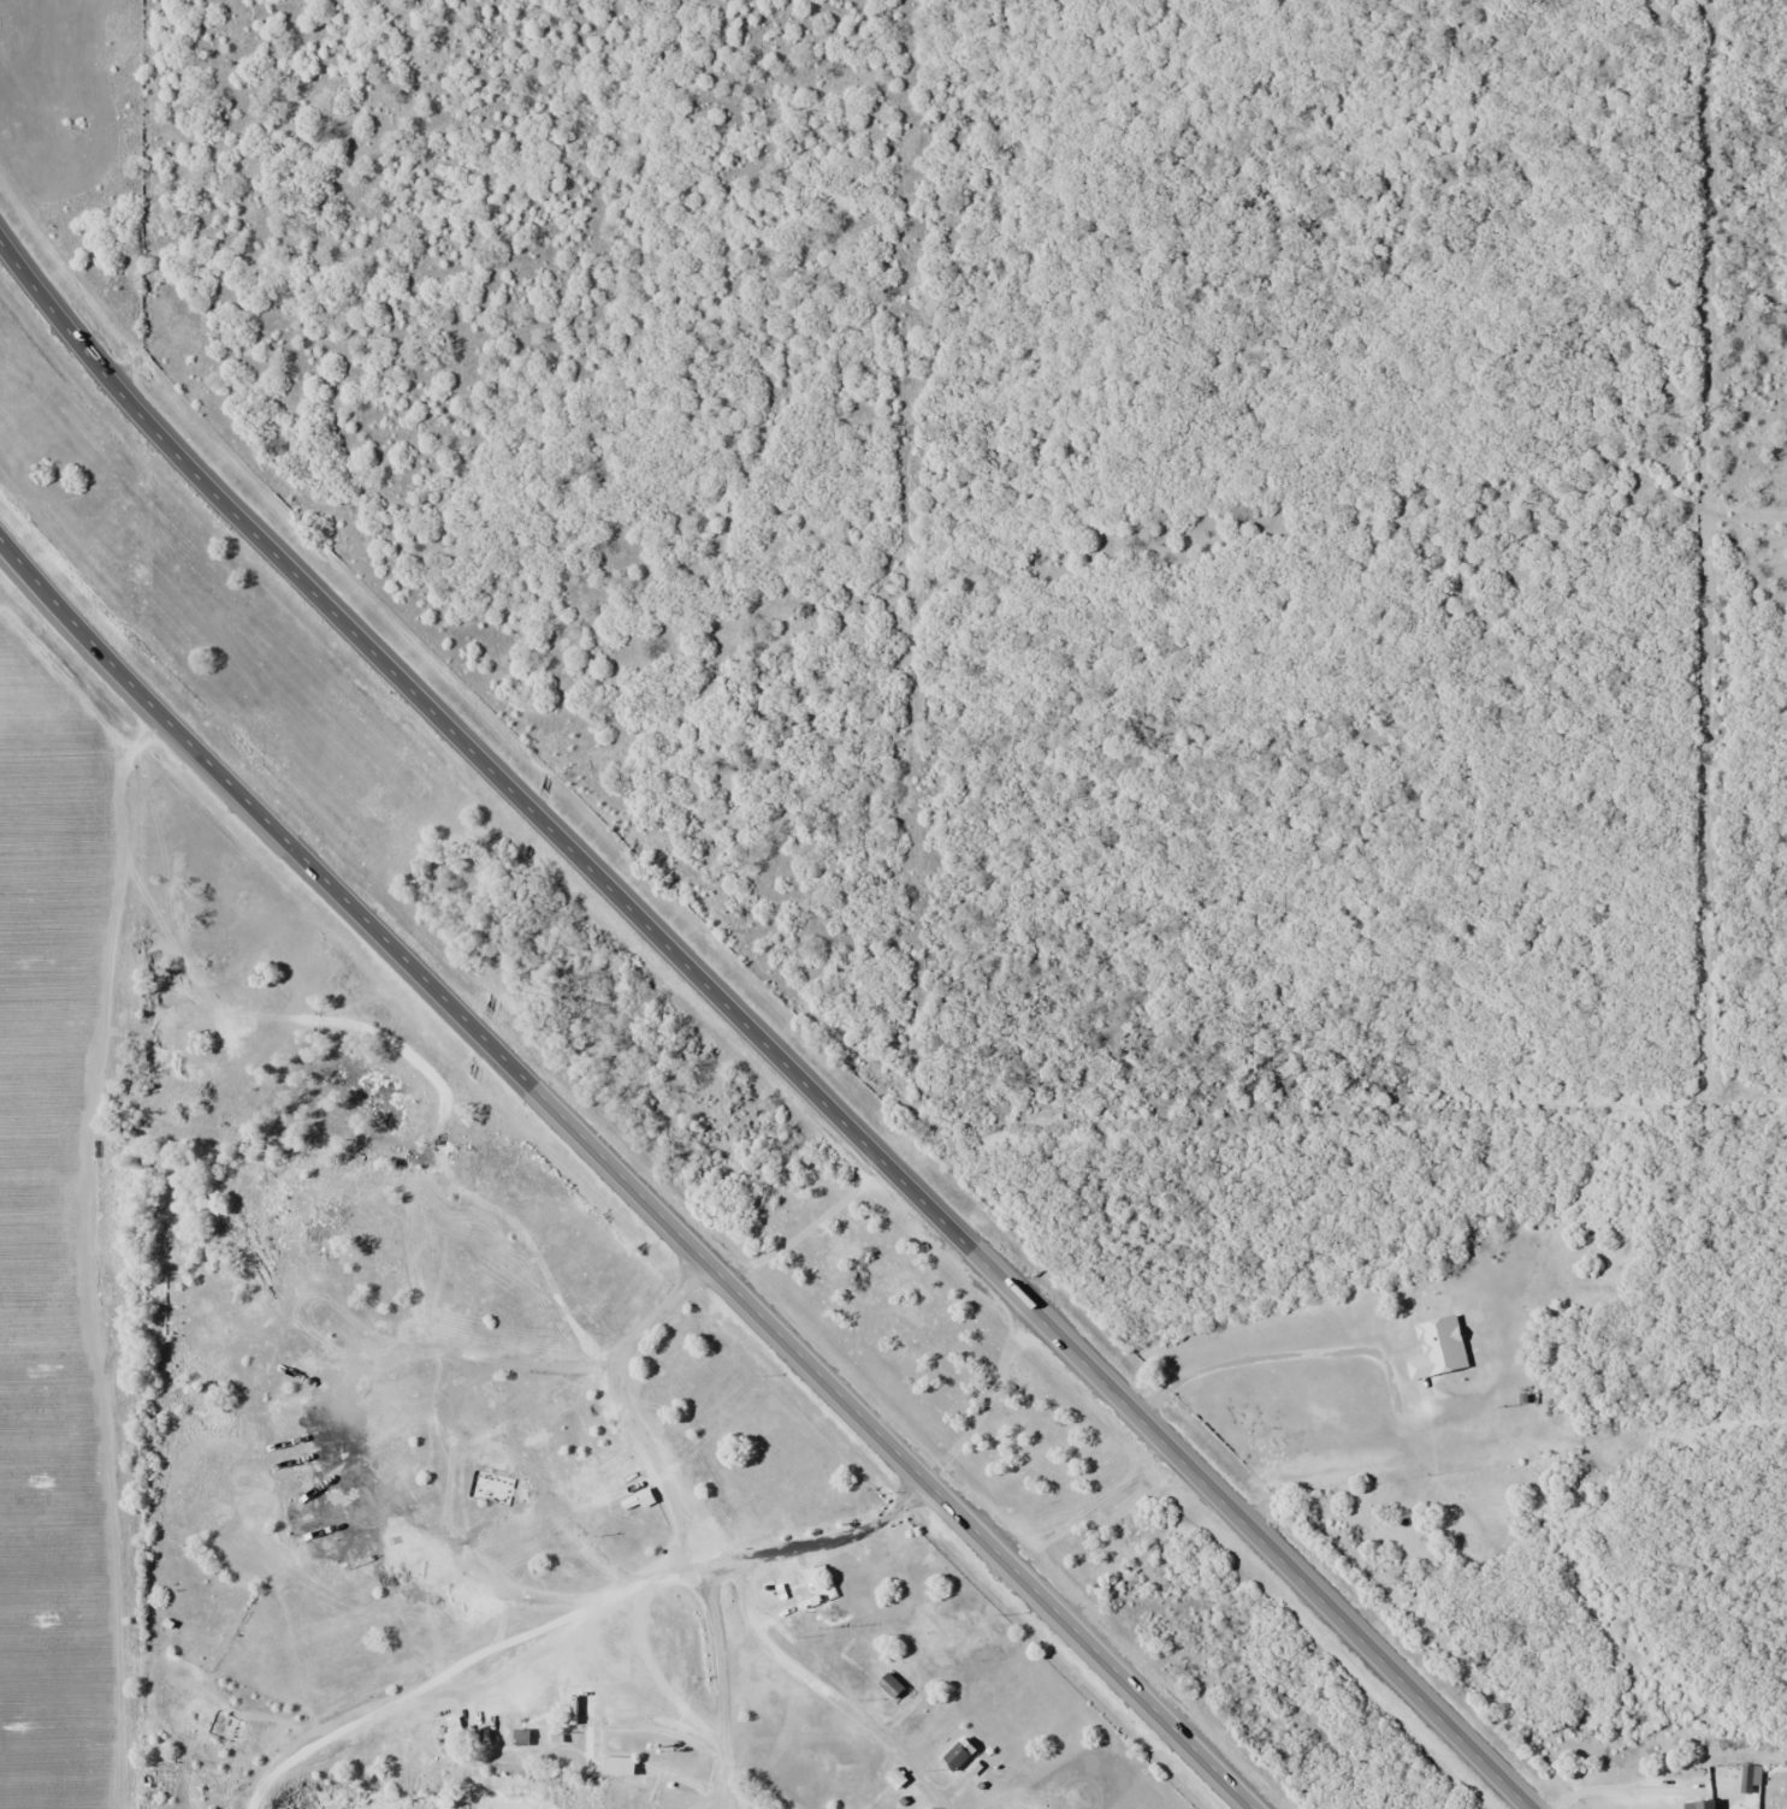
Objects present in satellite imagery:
road: (25, 274)
road: (785, 1063)
road: (623, 1176)
building: (1436, 1348)
building: (613, 1766)
building: (1744, 1778)
building: (1698, 1807)

